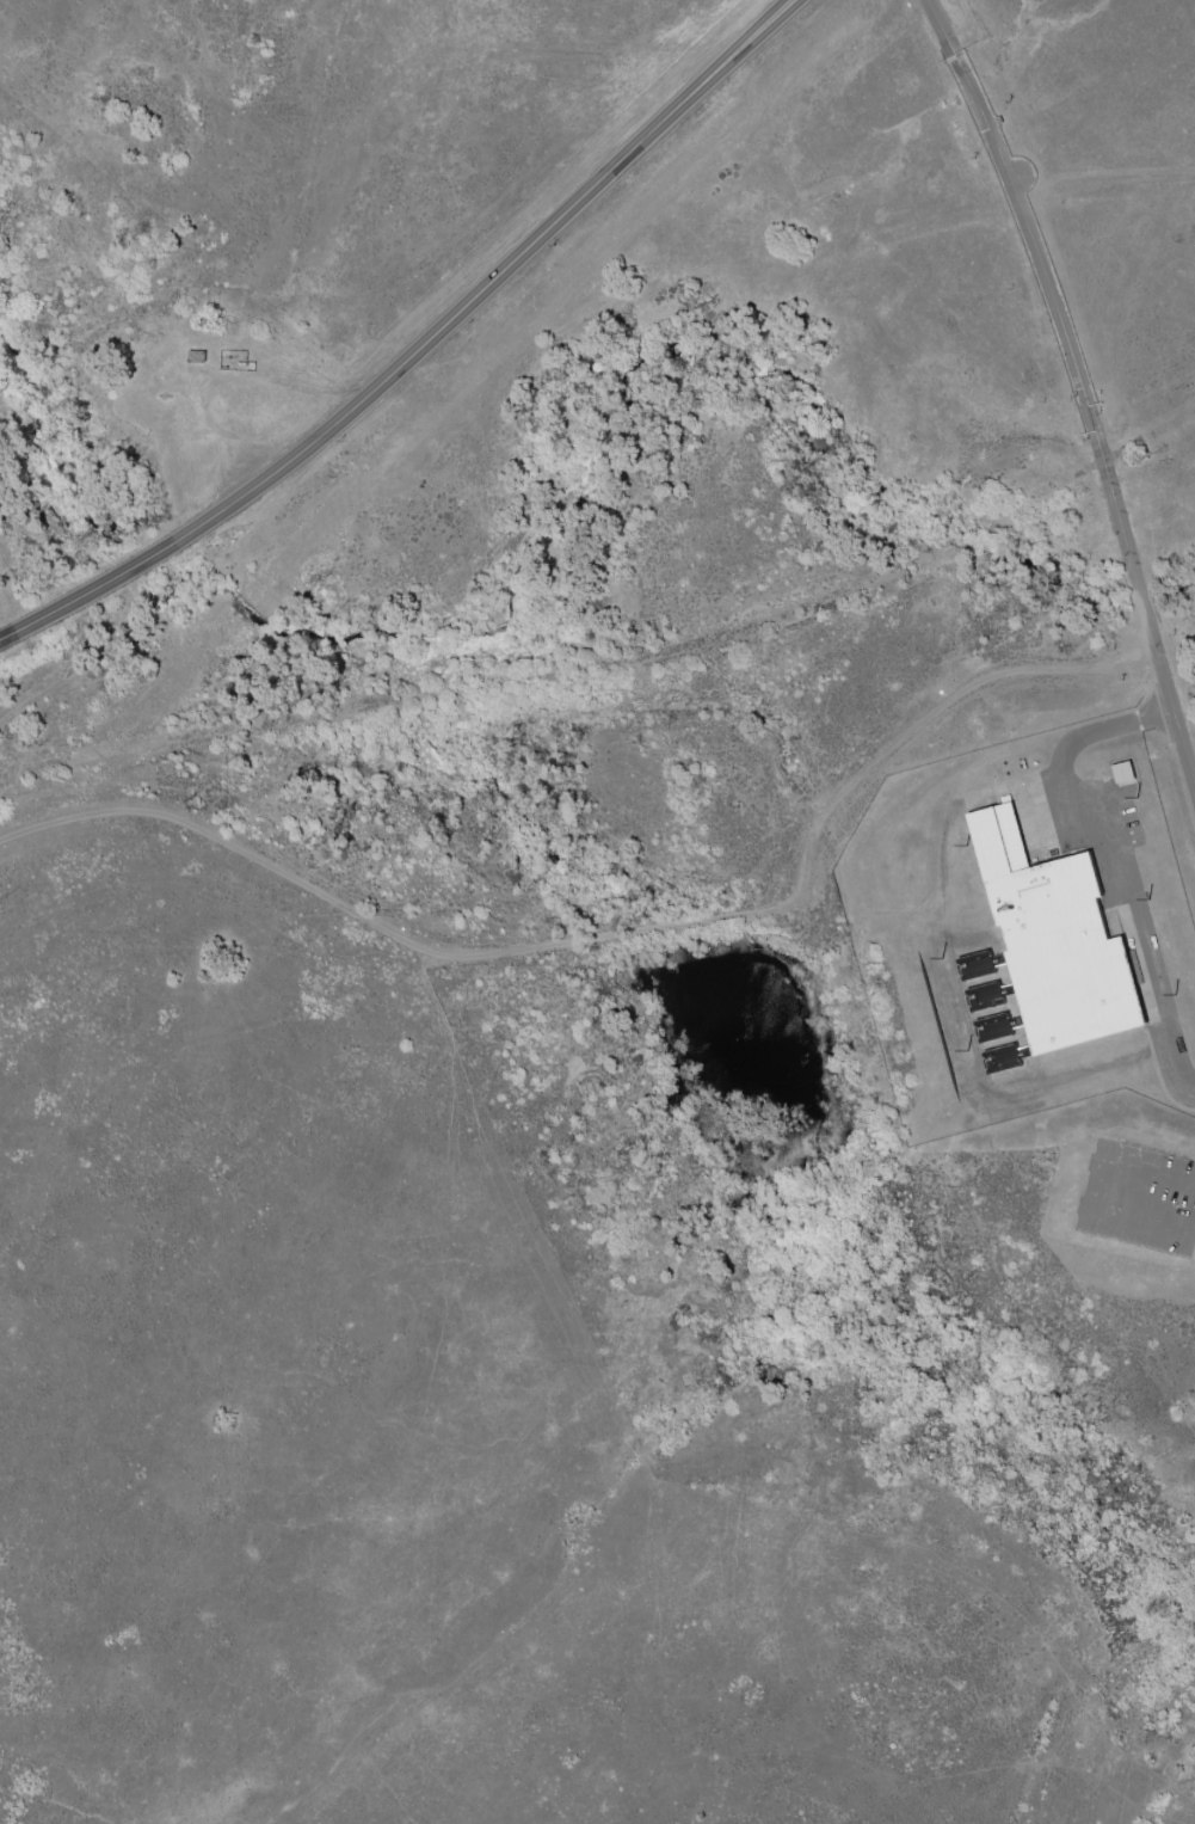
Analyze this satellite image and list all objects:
road: (420, 352)
road: (1080, 382)
road: (1116, 860)
road: (622, 936)
building: (1060, 944)
building: (980, 965)
building: (987, 996)
building: (998, 1027)
building: (1004, 1060)
road: (1151, 1181)
parking lot: (1140, 1198)
road: (1144, 1226)

